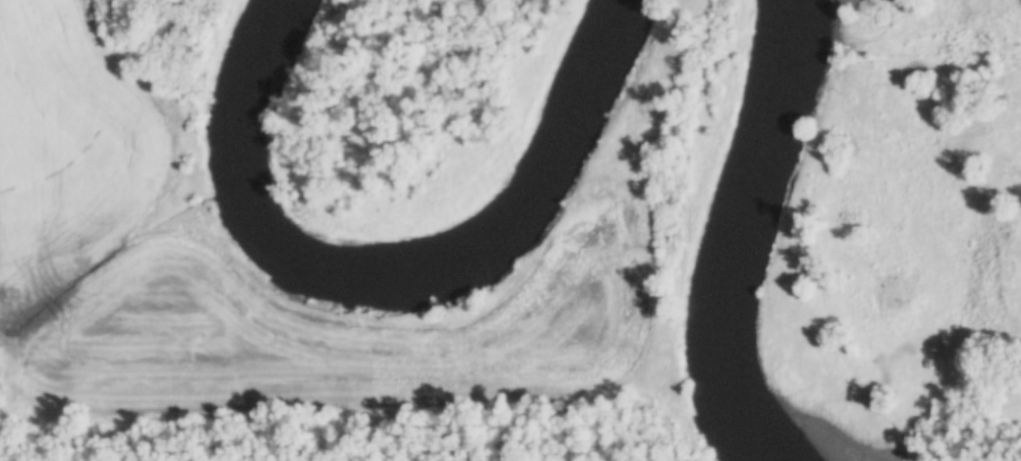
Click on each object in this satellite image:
river: (747, 226)
river: (391, 269)

